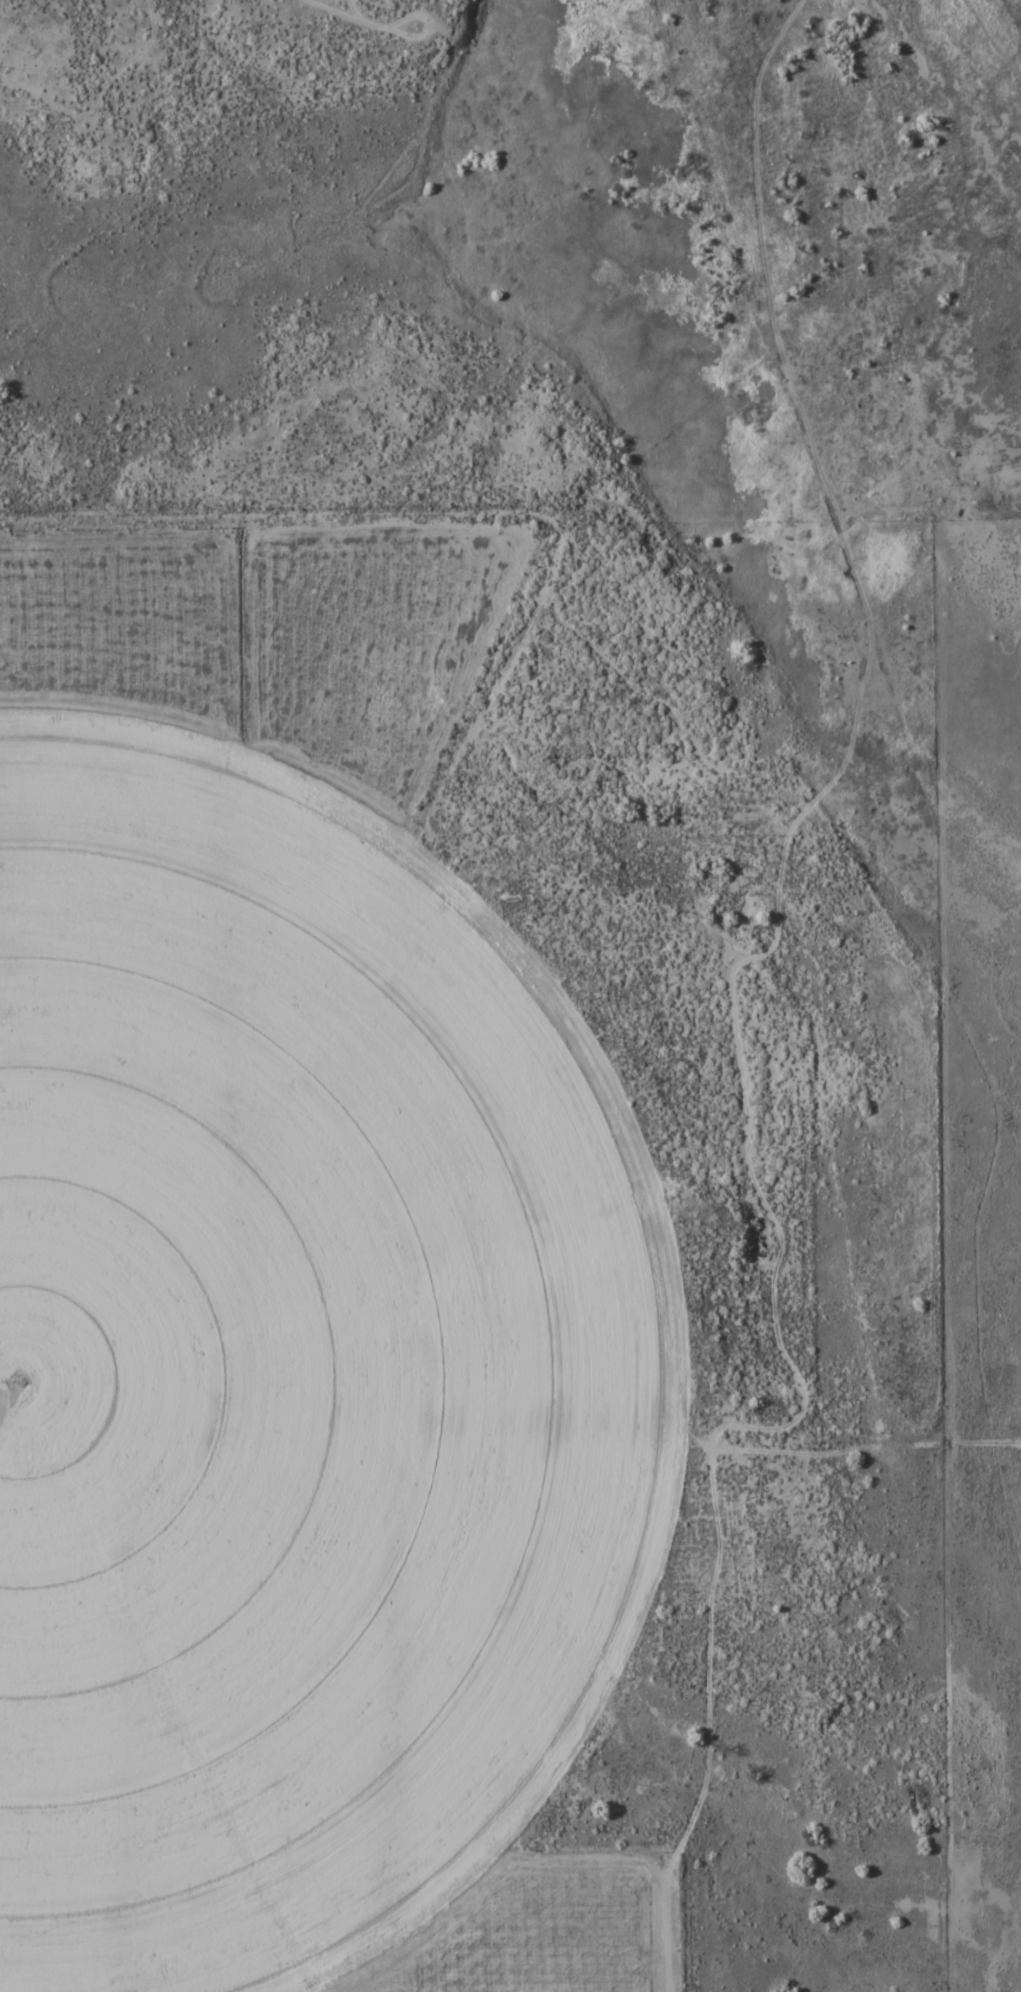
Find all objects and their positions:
road: (712, 1729)

